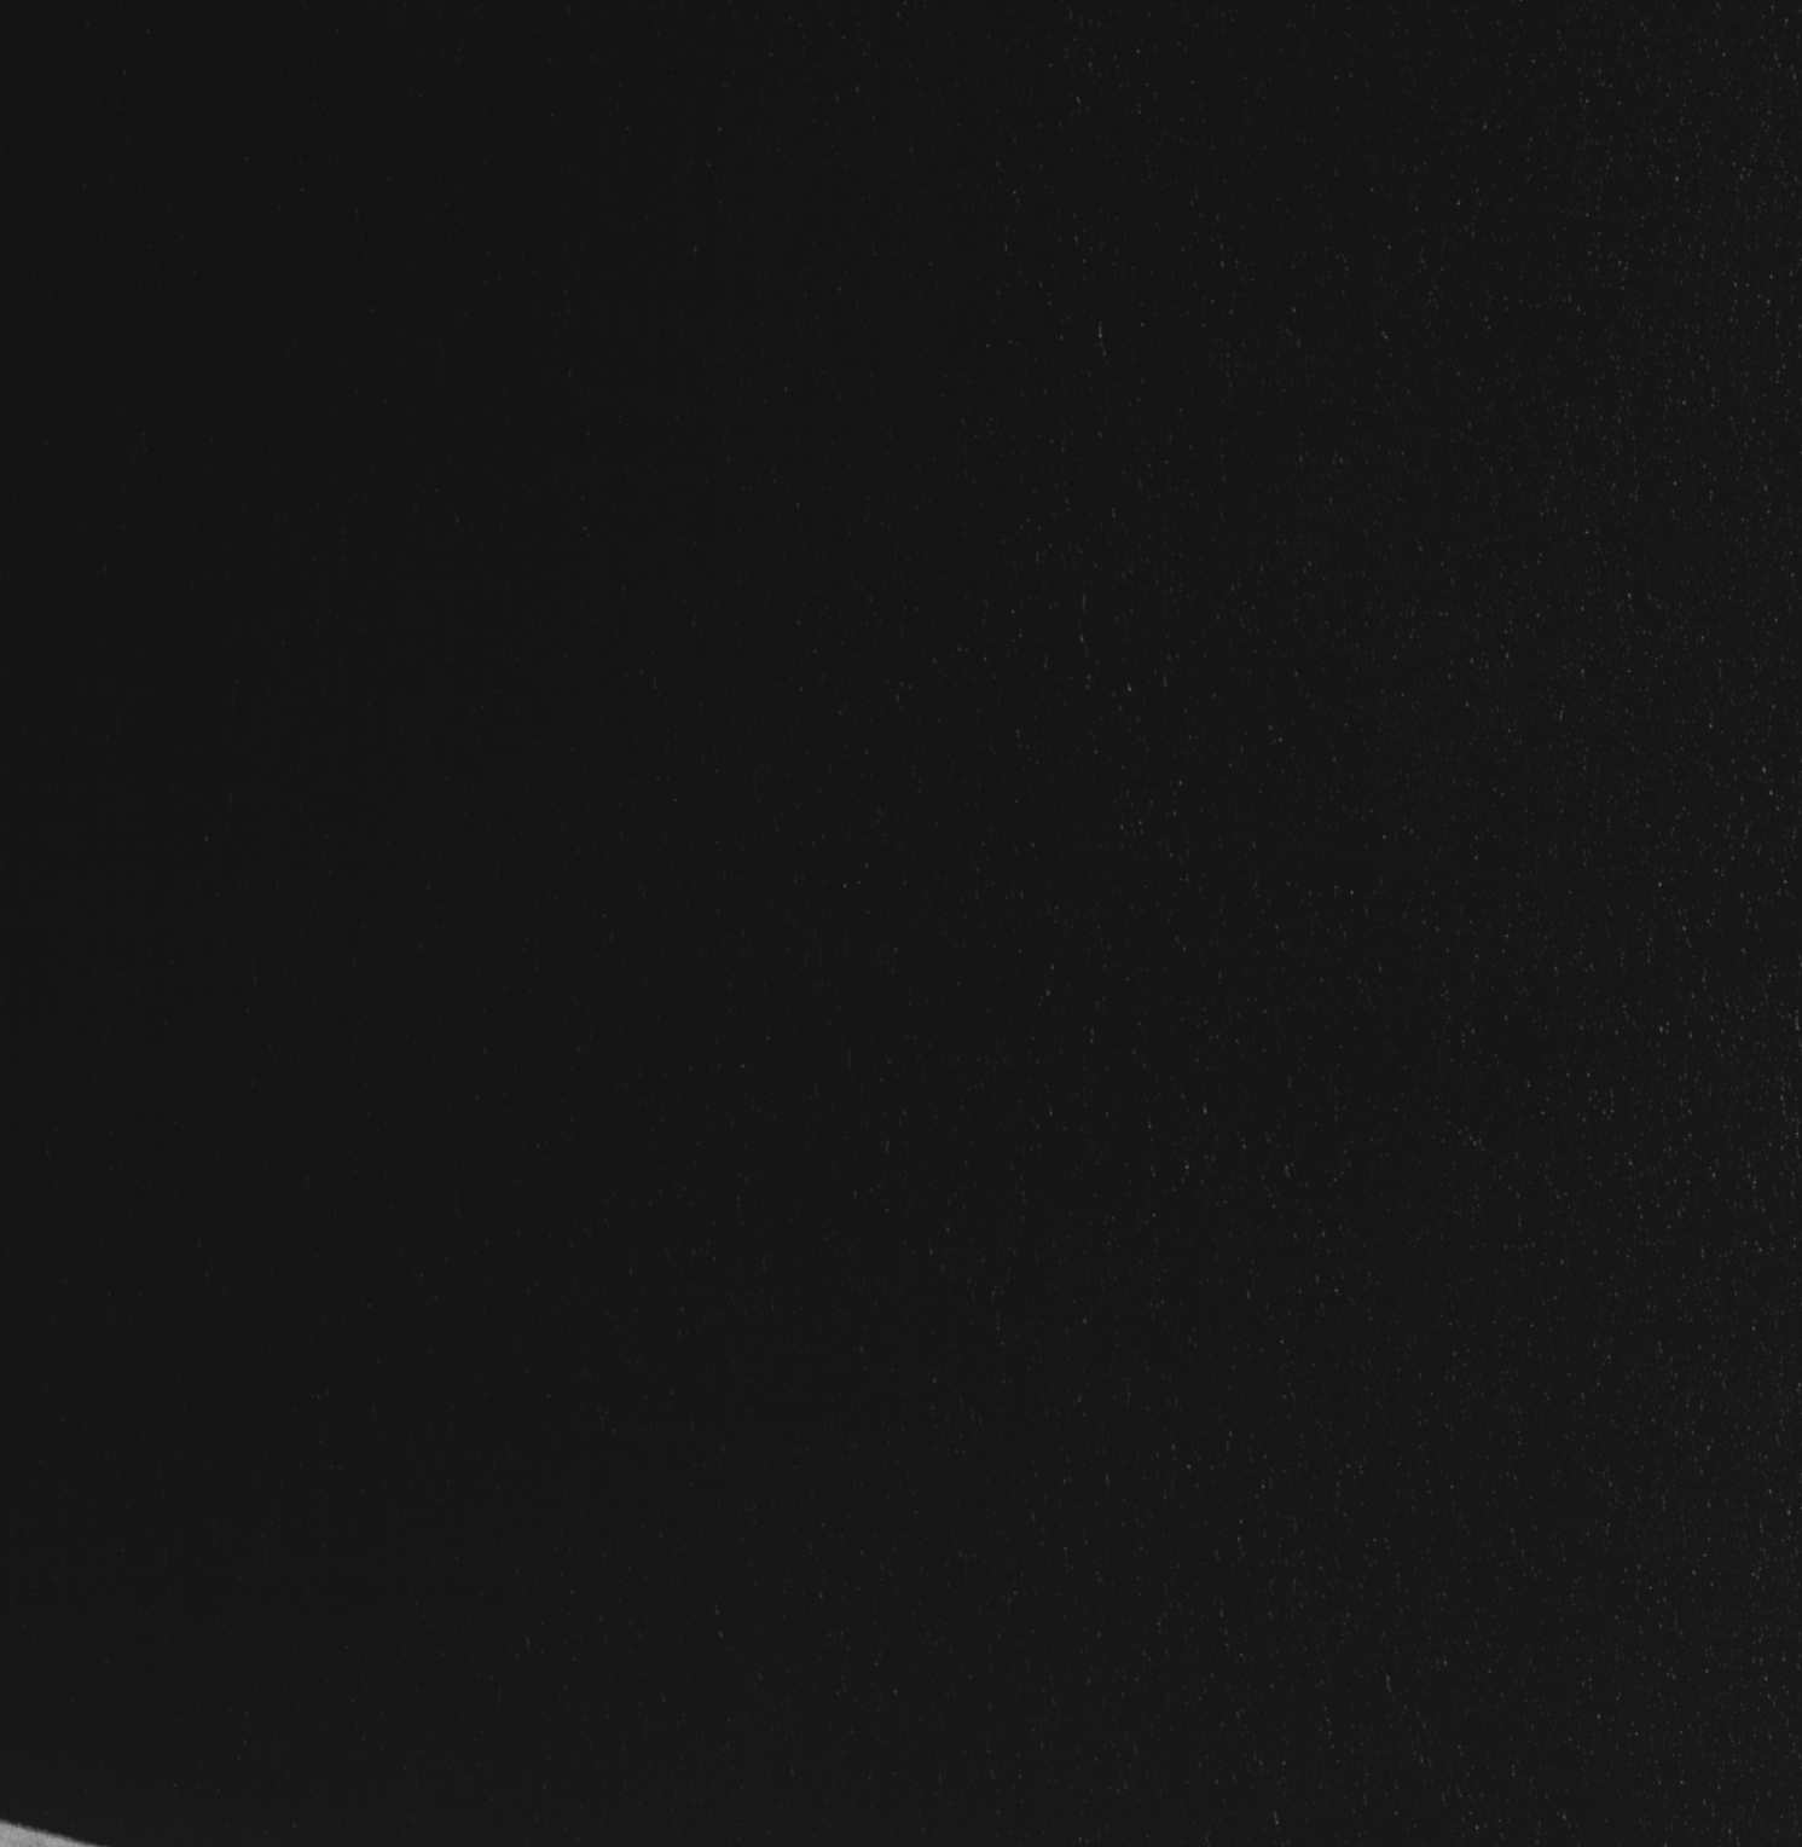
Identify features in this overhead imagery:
power plant: (34, 1837)

